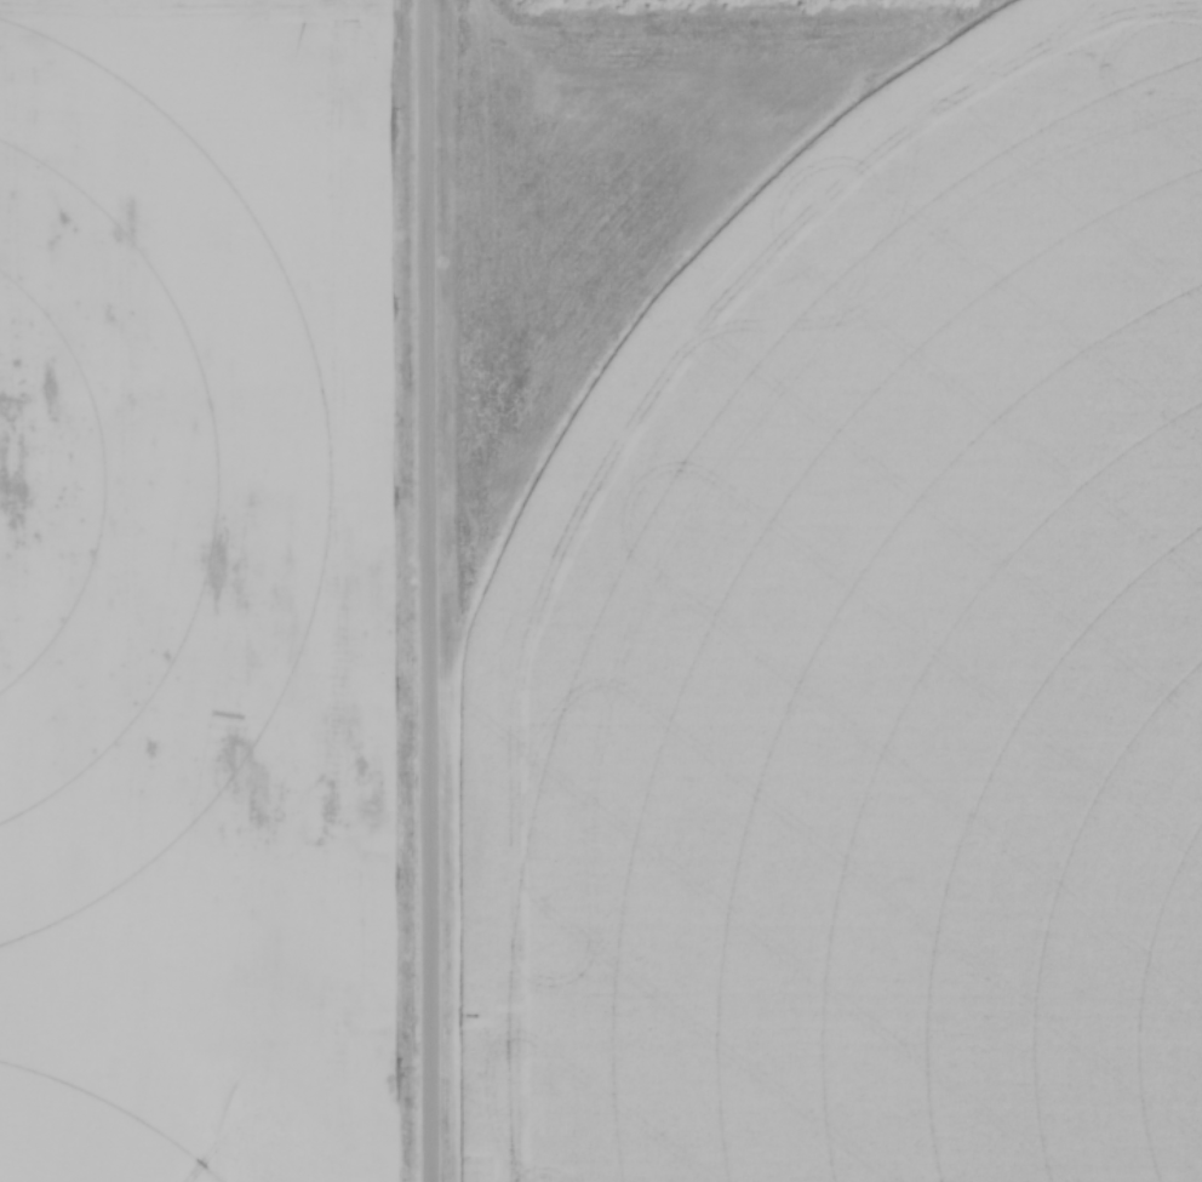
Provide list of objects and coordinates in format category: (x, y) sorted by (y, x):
road: (437, 590)

